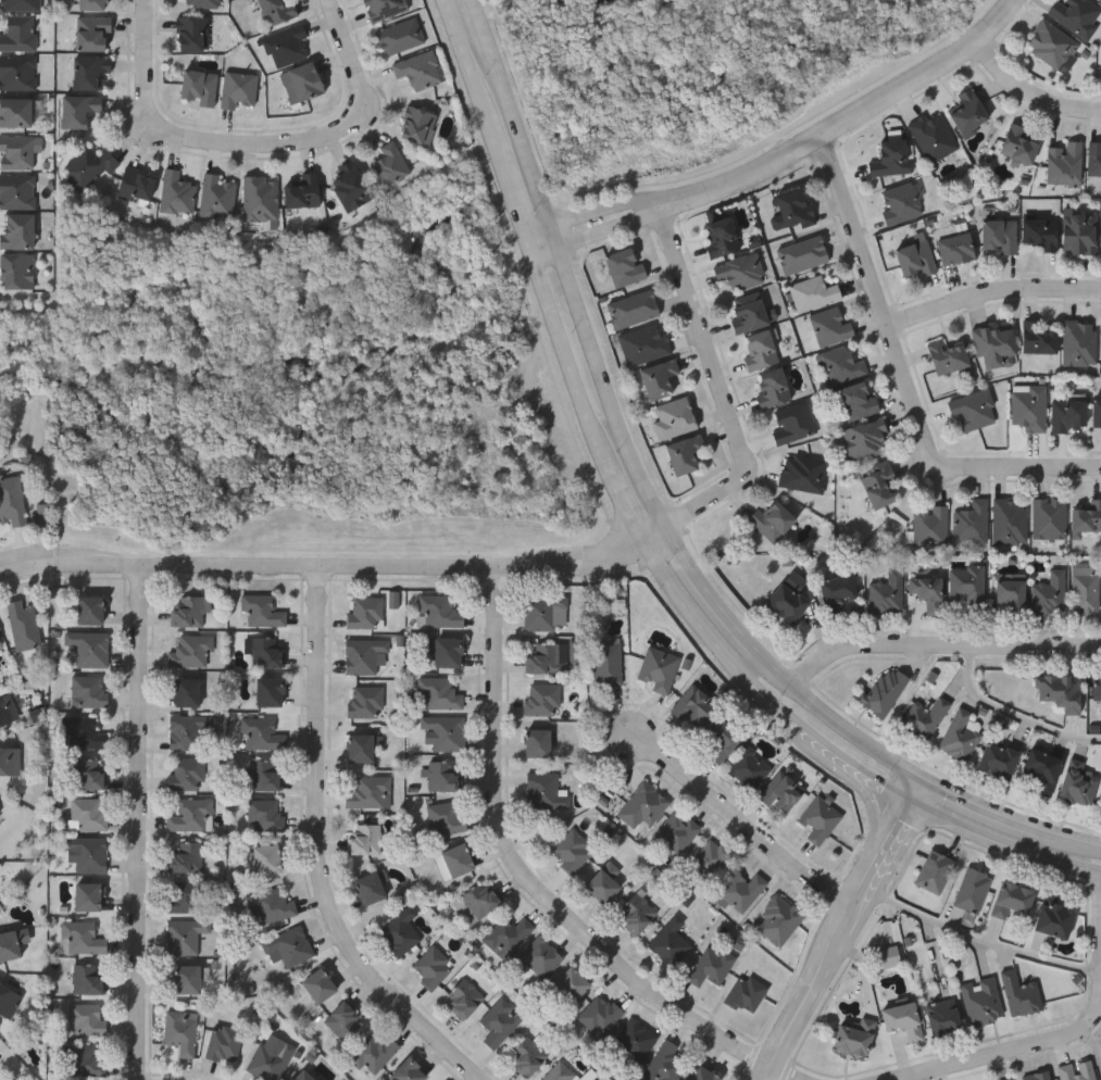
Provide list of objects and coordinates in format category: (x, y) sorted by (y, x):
building: (204, 3)
building: (22, 5)
building: (92, 5)
building: (386, 9)
building: (277, 11)
building: (1077, 15)
building: (93, 34)
building: (20, 35)
building: (192, 35)
building: (401, 37)
road: (347, 45)
building: (1052, 45)
building: (287, 46)
road: (147, 52)
building: (420, 71)
building: (18, 73)
building: (91, 73)
building: (303, 84)
building: (200, 88)
building: (240, 90)
road: (1033, 91)
building: (79, 111)
building: (969, 112)
building: (16, 114)
road: (851, 121)
building: (418, 126)
building: (934, 138)
road: (264, 146)
building: (1018, 146)
building: (16, 153)
building: (892, 159)
building: (1094, 162)
building: (1065, 165)
building: (390, 166)
building: (89, 168)
building: (137, 187)
building: (352, 188)
building: (17, 192)
building: (304, 192)
building: (178, 194)
building: (220, 198)
building: (262, 199)
building: (901, 204)
building: (795, 208)
road: (595, 212)
building: (17, 233)
road: (601, 233)
building: (1040, 235)
building: (1079, 235)
building: (1001, 236)
building: (721, 238)
building: (955, 250)
building: (804, 255)
building: (915, 258)
road: (574, 265)
building: (624, 268)
building: (17, 273)
building: (741, 273)
road: (993, 289)
building: (814, 293)
road: (884, 302)
building: (634, 310)
building: (748, 316)
building: (831, 327)
road: (708, 339)
building: (1037, 339)
building: (1079, 343)
building: (645, 346)
building: (996, 347)
building: (761, 352)
building: (948, 357)
building: (843, 366)
building: (659, 380)
building: (773, 390)
building: (858, 401)
building: (1029, 407)
building: (974, 411)
building: (1097, 416)
building: (1068, 417)
building: (674, 419)
building: (793, 425)
building: (865, 440)
building: (684, 455)
road: (1019, 469)
building: (803, 475)
building: (878, 486)
building: (11, 501)
road: (712, 504)
building: (1050, 517)
building: (1087, 517)
building: (973, 520)
building: (1010, 520)
building: (773, 522)
building: (930, 526)
road: (659, 538)
road: (648, 544)
road: (325, 575)
building: (968, 585)
building: (928, 590)
building: (1087, 590)
road: (711, 592)
building: (887, 593)
building: (1012, 593)
building: (837, 594)
building: (1050, 594)
building: (787, 603)
building: (89, 608)
building: (262, 610)
building: (439, 610)
building: (189, 611)
building: (365, 612)
building: (546, 612)
building: (24, 623)
building: (0, 640)
building: (1, 643)
building: (89, 648)
building: (191, 650)
road: (941, 650)
building: (266, 652)
building: (448, 652)
building: (549, 656)
building: (608, 663)
road: (776, 666)
building: (660, 667)
building: (1097, 687)
building: (87, 691)
building: (186, 691)
building: (270, 691)
building: (884, 691)
building: (1060, 691)
building: (439, 693)
building: (542, 699)
building: (365, 701)
building: (695, 706)
building: (5, 709)
road: (1014, 714)
building: (926, 718)
building: (445, 731)
building: (84, 732)
building: (185, 732)
building: (262, 733)
road: (855, 733)
building: (961, 734)
building: (722, 739)
building: (538, 742)
building: (362, 745)
building: (10, 758)
building: (998, 761)
building: (749, 768)
building: (1041, 770)
building: (186, 773)
building: (89, 774)
building: (265, 775)
building: (442, 777)
building: (1079, 783)
building: (546, 791)
building: (371, 792)
building: (780, 793)
road: (872, 803)
building: (643, 805)
building: (88, 814)
building: (266, 814)
road: (988, 814)
building: (191, 815)
building: (447, 816)
building: (820, 819)
road: (741, 822)
road: (146, 827)
building: (677, 832)
building: (365, 838)
road: (1080, 846)
building: (572, 850)
building: (88, 853)
building: (187, 856)
road: (325, 856)
building: (267, 858)
building: (711, 858)
building: (454, 861)
building: (934, 872)
building: (604, 882)
road: (535, 884)
building: (370, 888)
building: (972, 890)
building: (741, 891)
building: (88, 895)
building: (186, 896)
building: (1011, 900)
building: (476, 902)
building: (271, 905)
building: (638, 911)
building: (779, 919)
building: (1053, 919)
road: (836, 927)
building: (400, 931)
building: (185, 935)
building: (509, 935)
building: (82, 937)
road: (977, 937)
building: (671, 941)
building: (9, 942)
building: (289, 946)
building: (537, 957)
building: (712, 965)
building: (433, 967)
building: (186, 978)
building: (87, 979)
building: (318, 984)
building: (571, 984)
building: (747, 993)
building: (1019, 995)
building: (465, 997)
building: (9, 999)
building: (980, 1003)
building: (600, 1015)
building: (942, 1017)
building: (87, 1019)
building: (345, 1020)
building: (500, 1021)
building: (182, 1031)
building: (853, 1039)
building: (225, 1043)
building: (635, 1043)
building: (374, 1054)
road: (1023, 1054)
building: (527, 1056)
building: (85, 1060)
building: (271, 1060)
building: (664, 1064)
building: (409, 1070)
building: (1076, 1071)
building: (560, 1072)
building: (703, 1073)
building: (302, 1076)
building: (1037, 1077)

